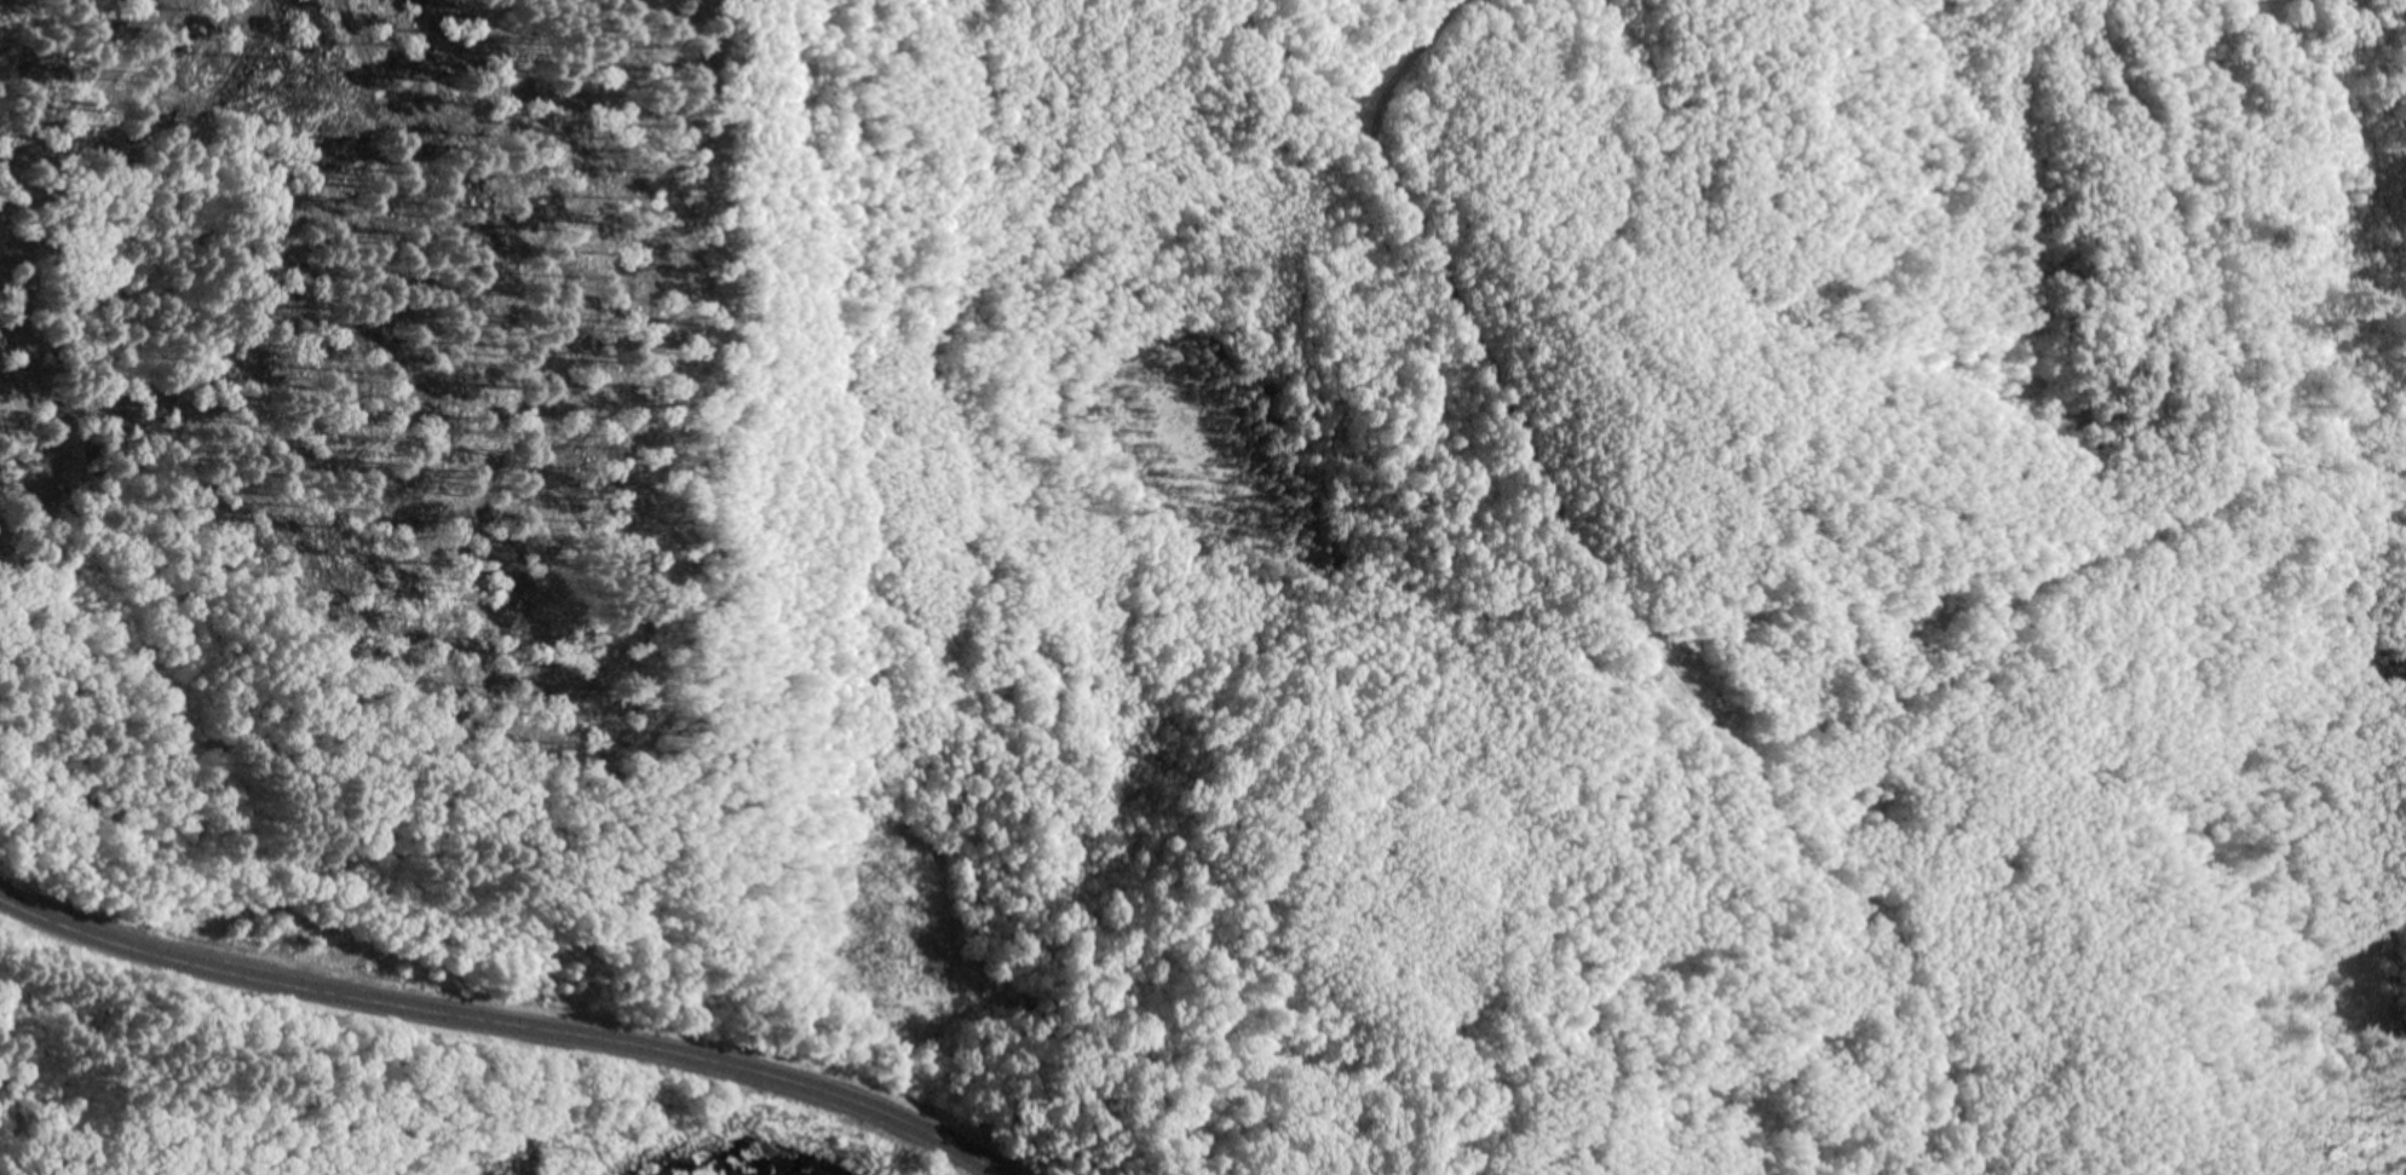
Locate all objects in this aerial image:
quarry: (1596, 582)
road: (1631, 595)
road: (96, 932)
road: (608, 1041)

